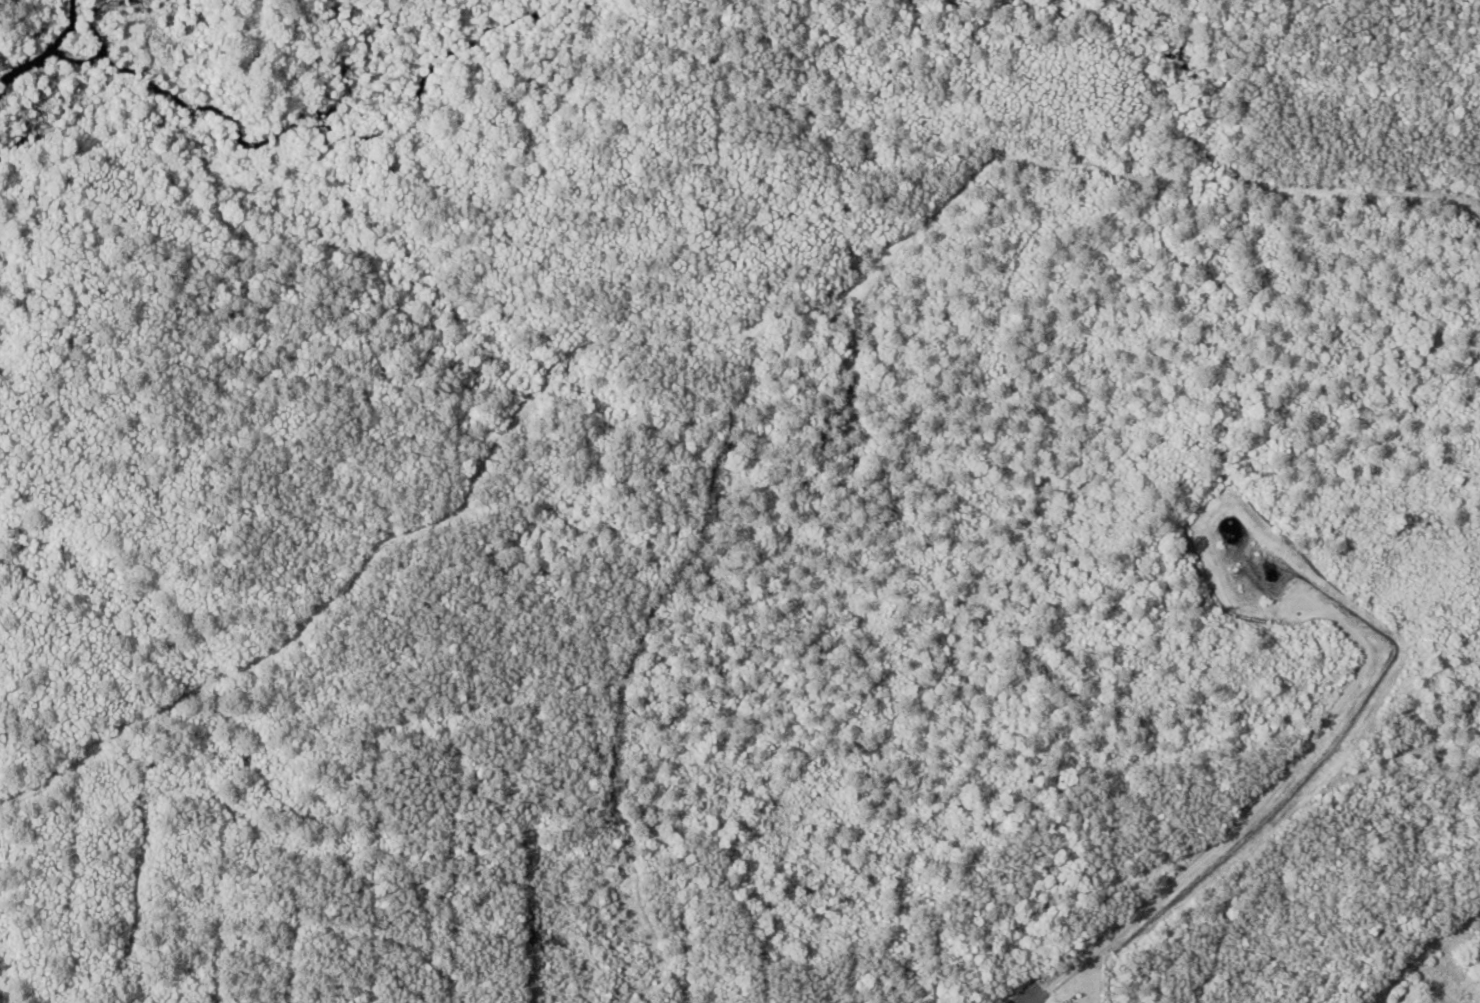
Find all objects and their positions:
building: (1456, 972)

